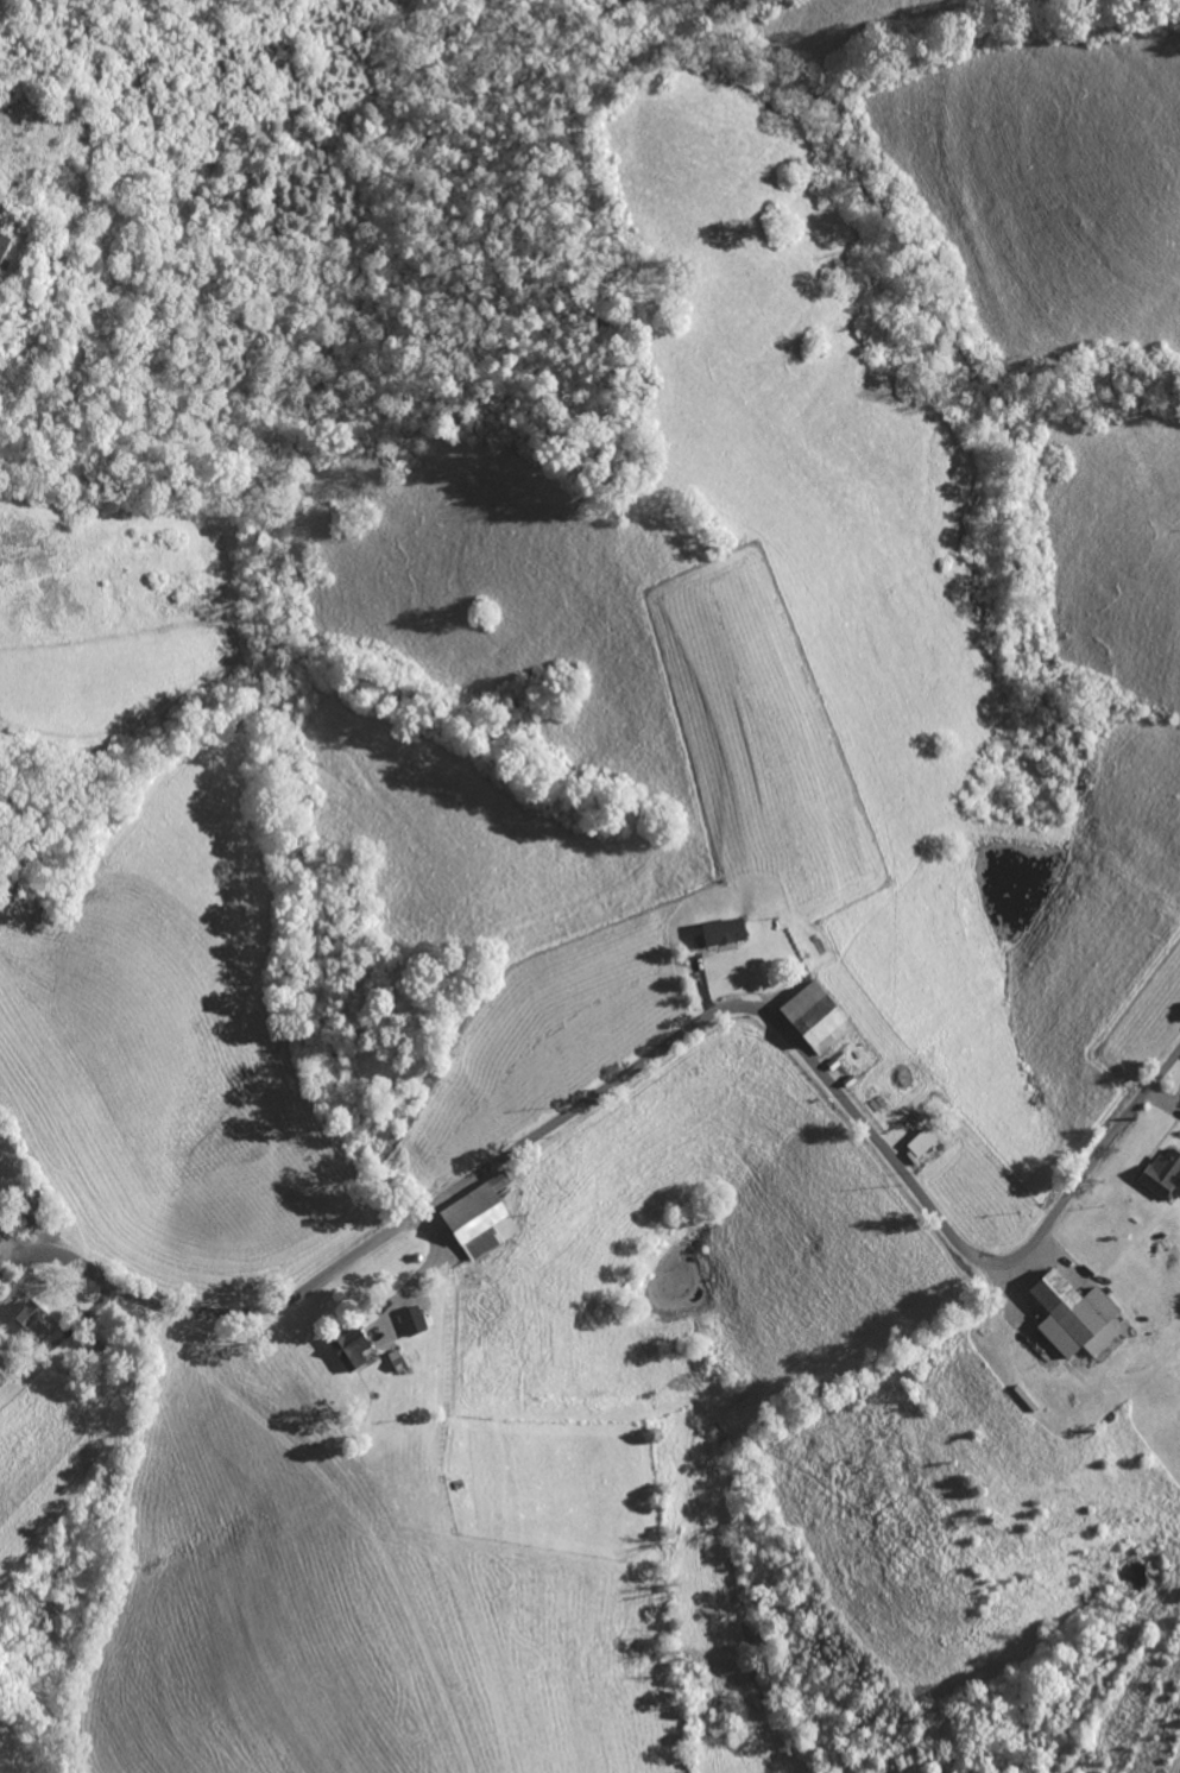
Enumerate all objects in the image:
building: (1, 240)
building: (718, 932)
building: (809, 1020)
road: (860, 1117)
building: (916, 1143)
building: (1159, 1174)
building: (493, 1181)
building: (473, 1223)
road: (244, 1310)
building: (1068, 1317)
building: (412, 1320)
building: (27, 1321)
building: (346, 1349)

